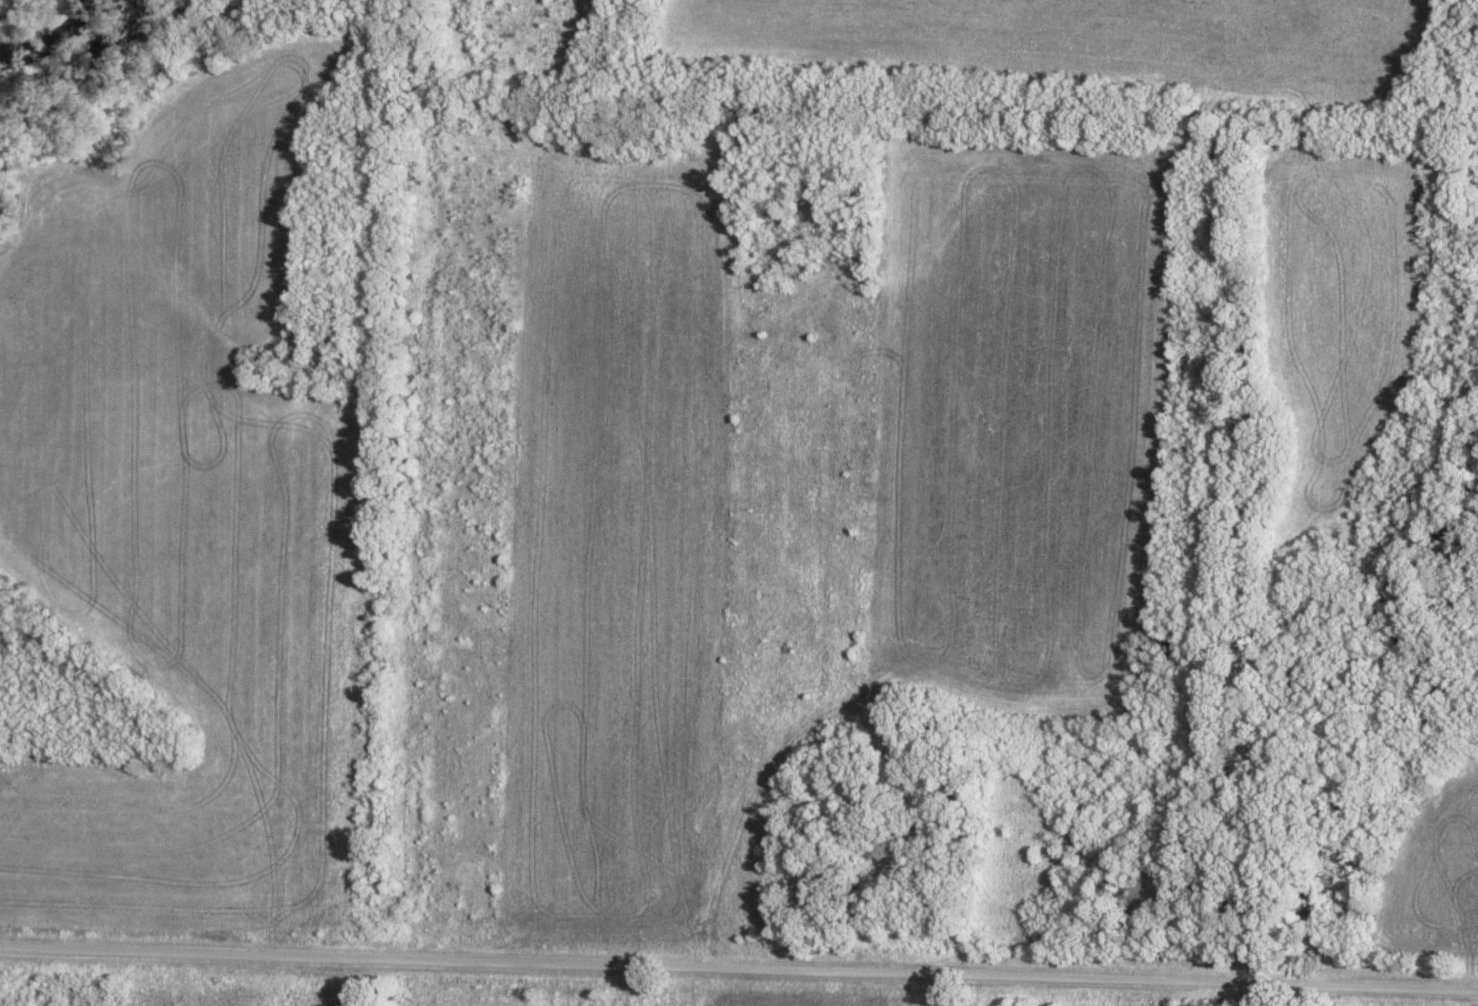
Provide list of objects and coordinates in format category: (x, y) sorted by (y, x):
road: (739, 970)

